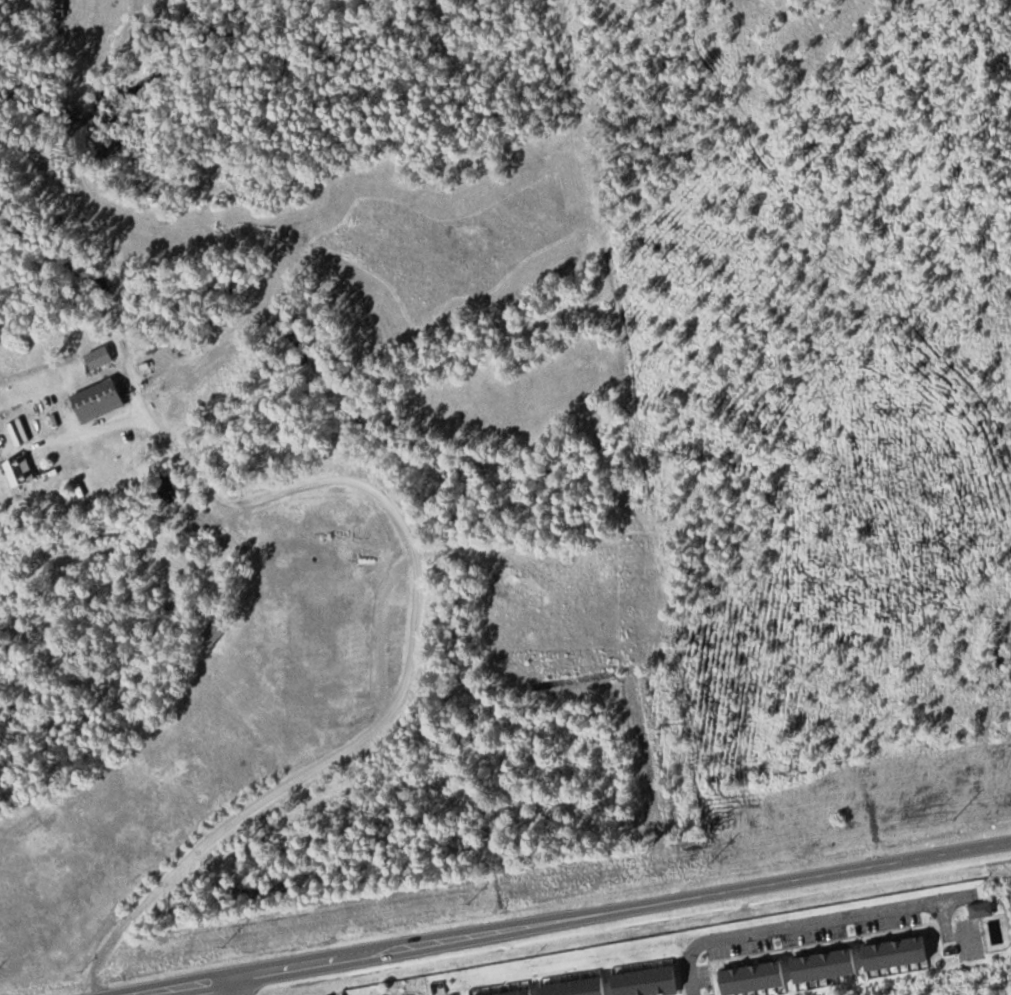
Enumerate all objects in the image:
building: (103, 357)
building: (102, 399)
building: (23, 471)
building: (217, 635)
power tower: (954, 815)
power tower: (710, 858)
power tower: (467, 901)
road: (571, 918)
power tower: (222, 943)
road: (230, 986)

